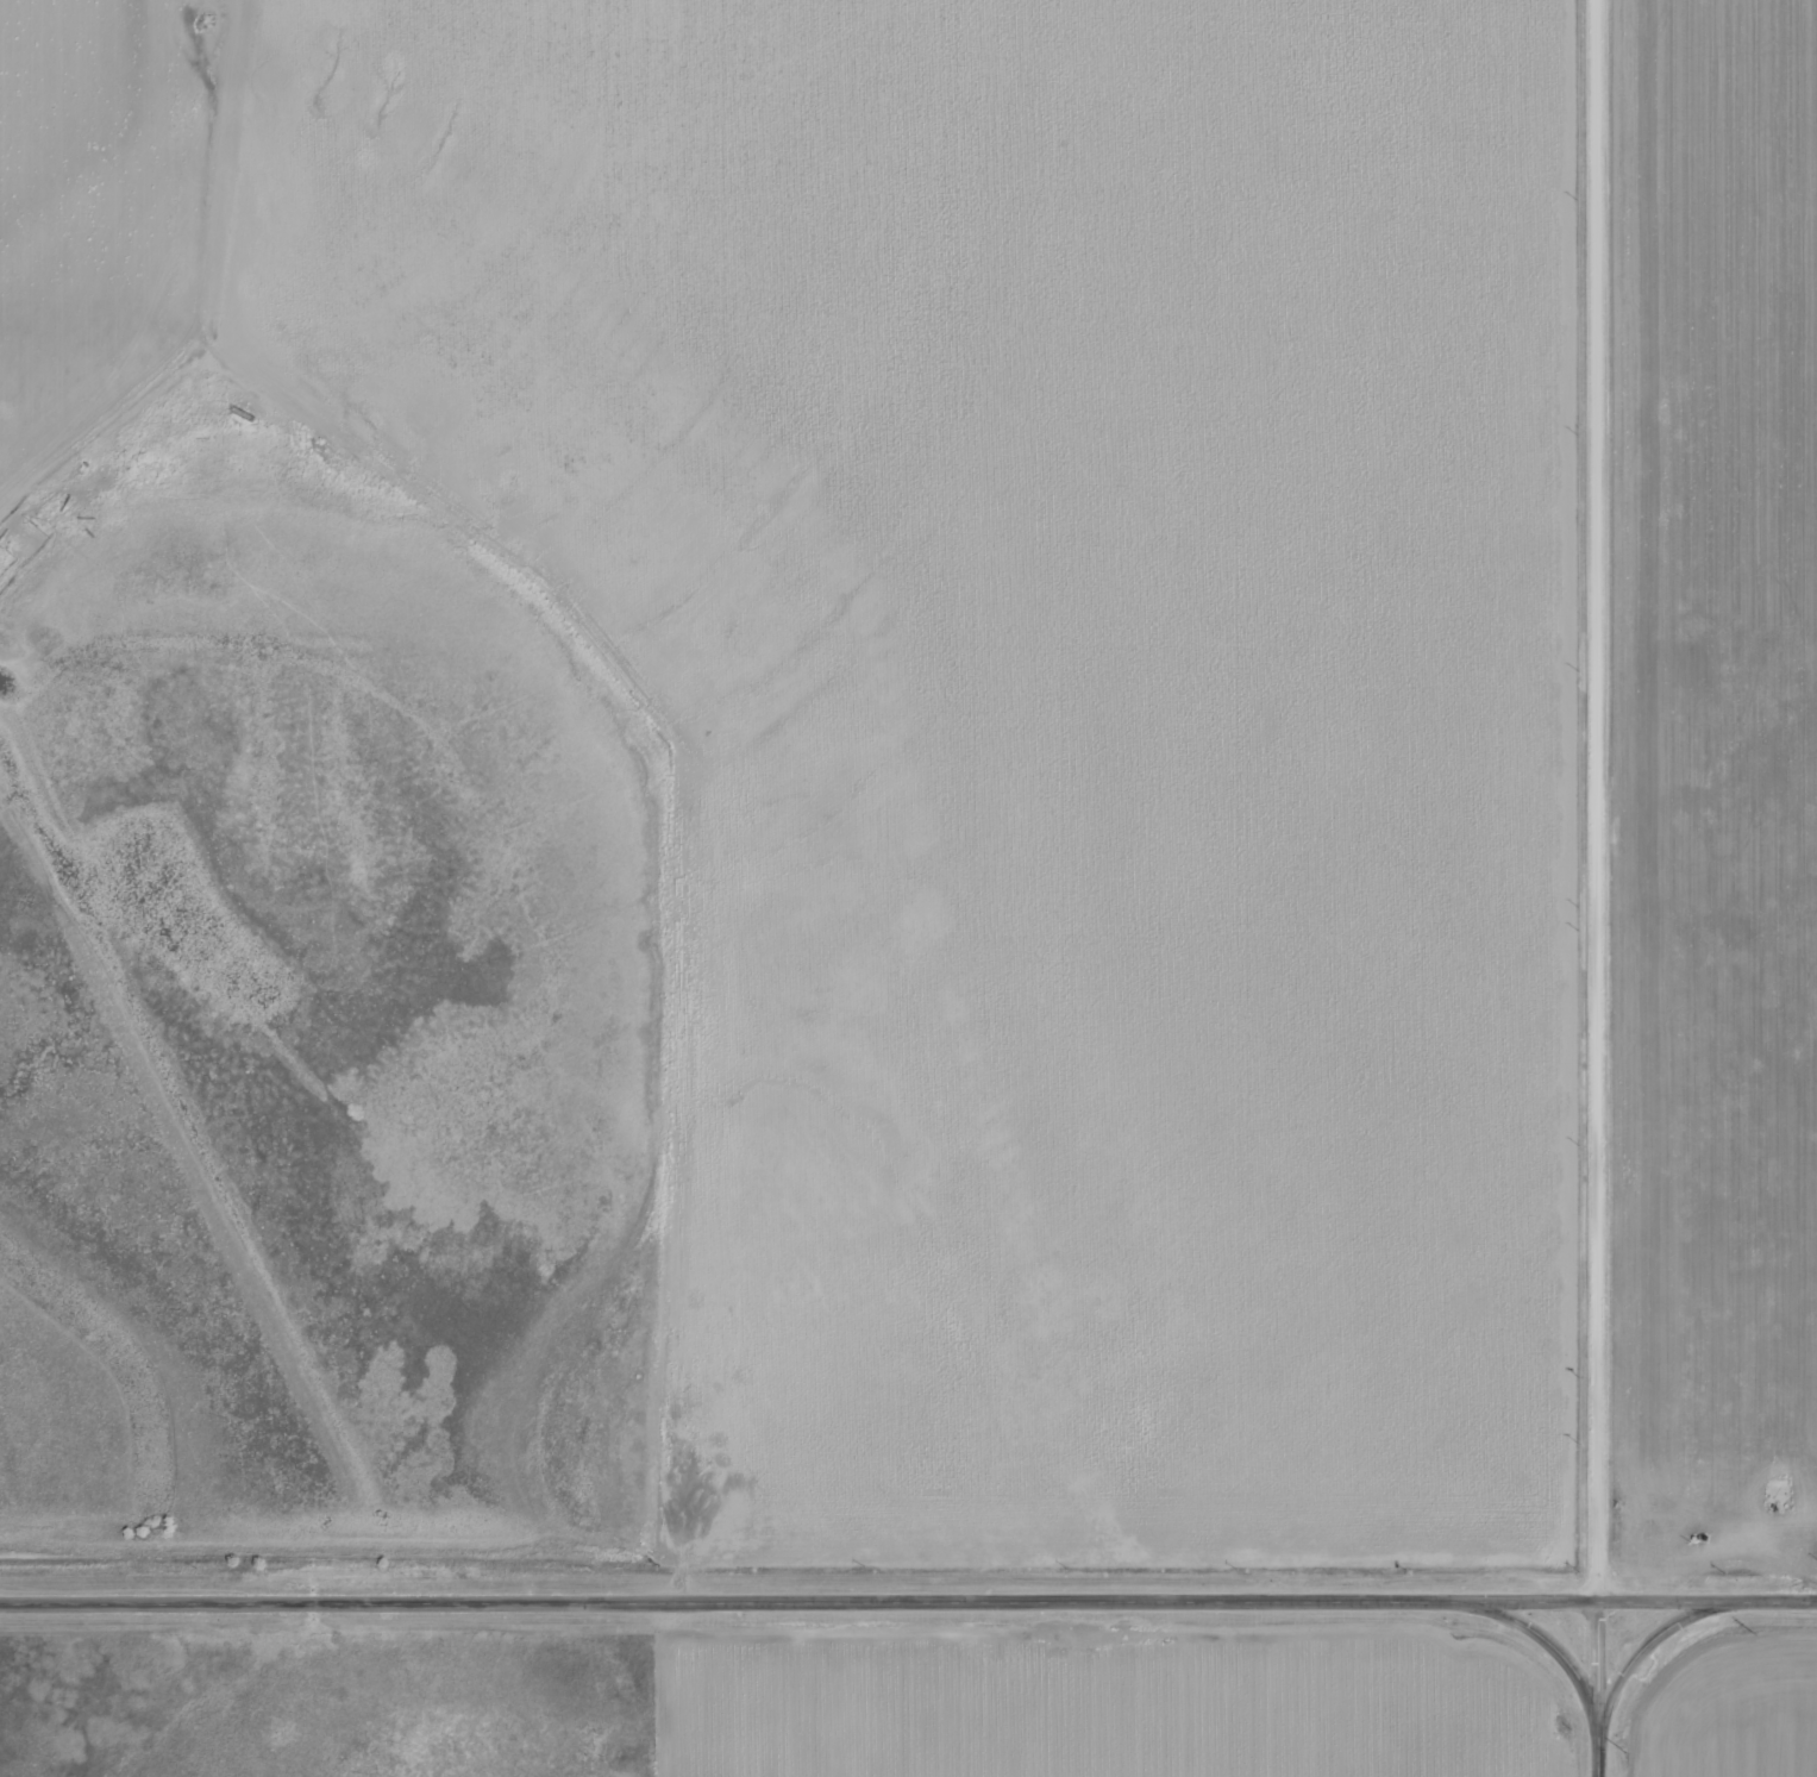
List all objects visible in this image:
road: (1586, 803)
road: (797, 1610)
road: (1705, 1610)
road: (1543, 1650)
road: (1639, 1654)
road: (1593, 1691)

